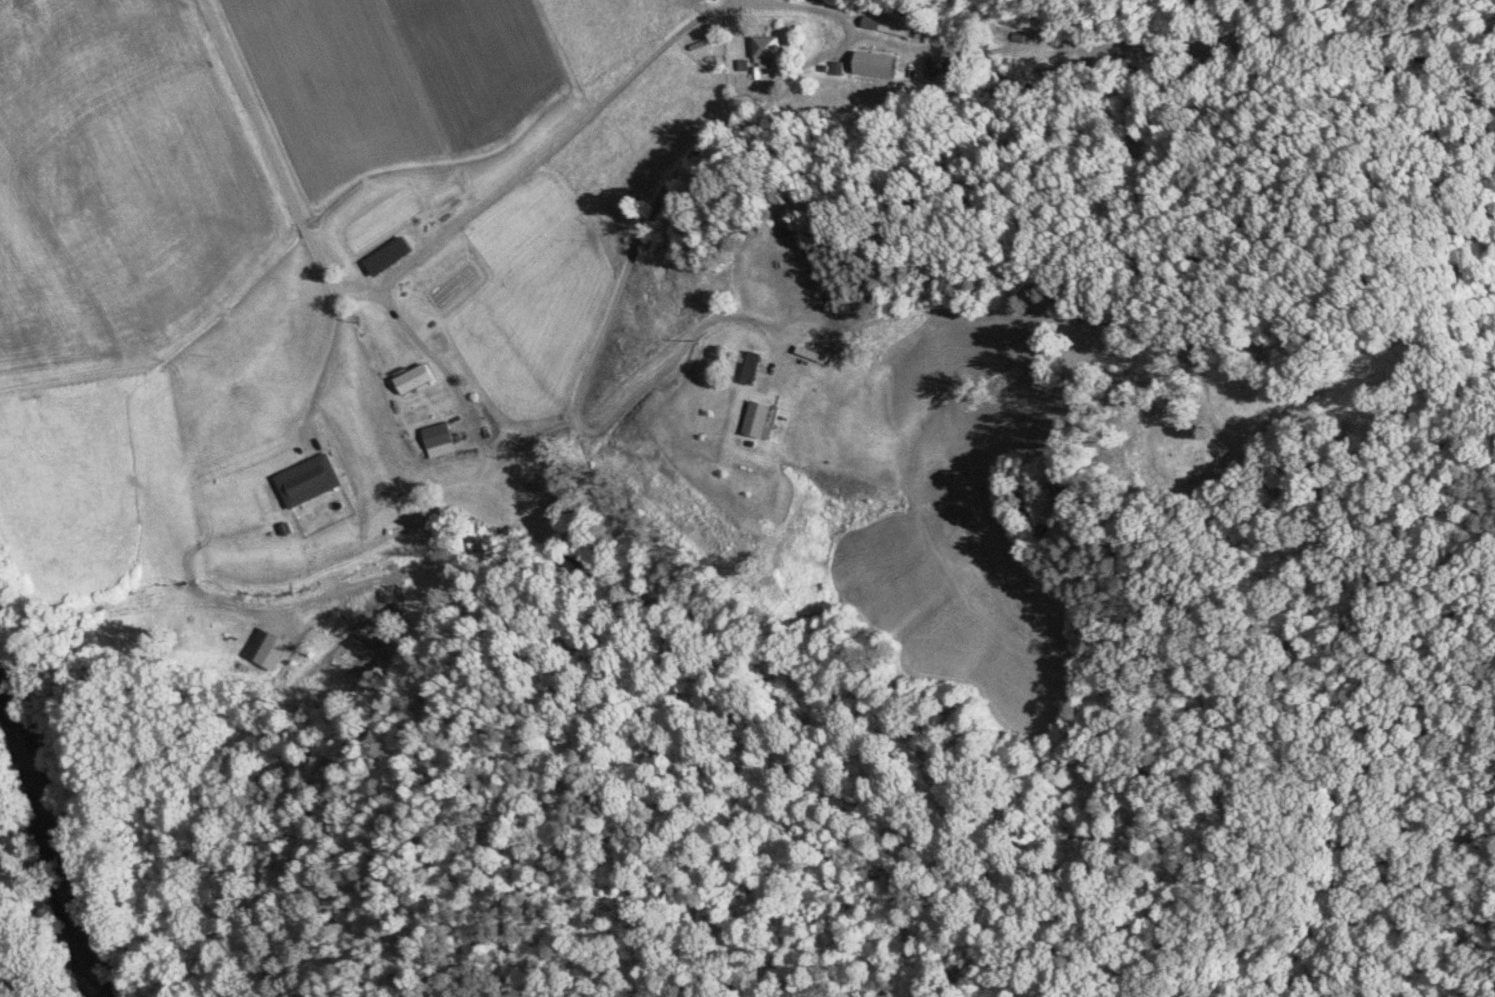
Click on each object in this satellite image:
building: (813, 355)
building: (753, 369)
building: (416, 379)
building: (758, 420)
building: (440, 436)
building: (309, 482)
river: (58, 841)
road: (4, 979)

